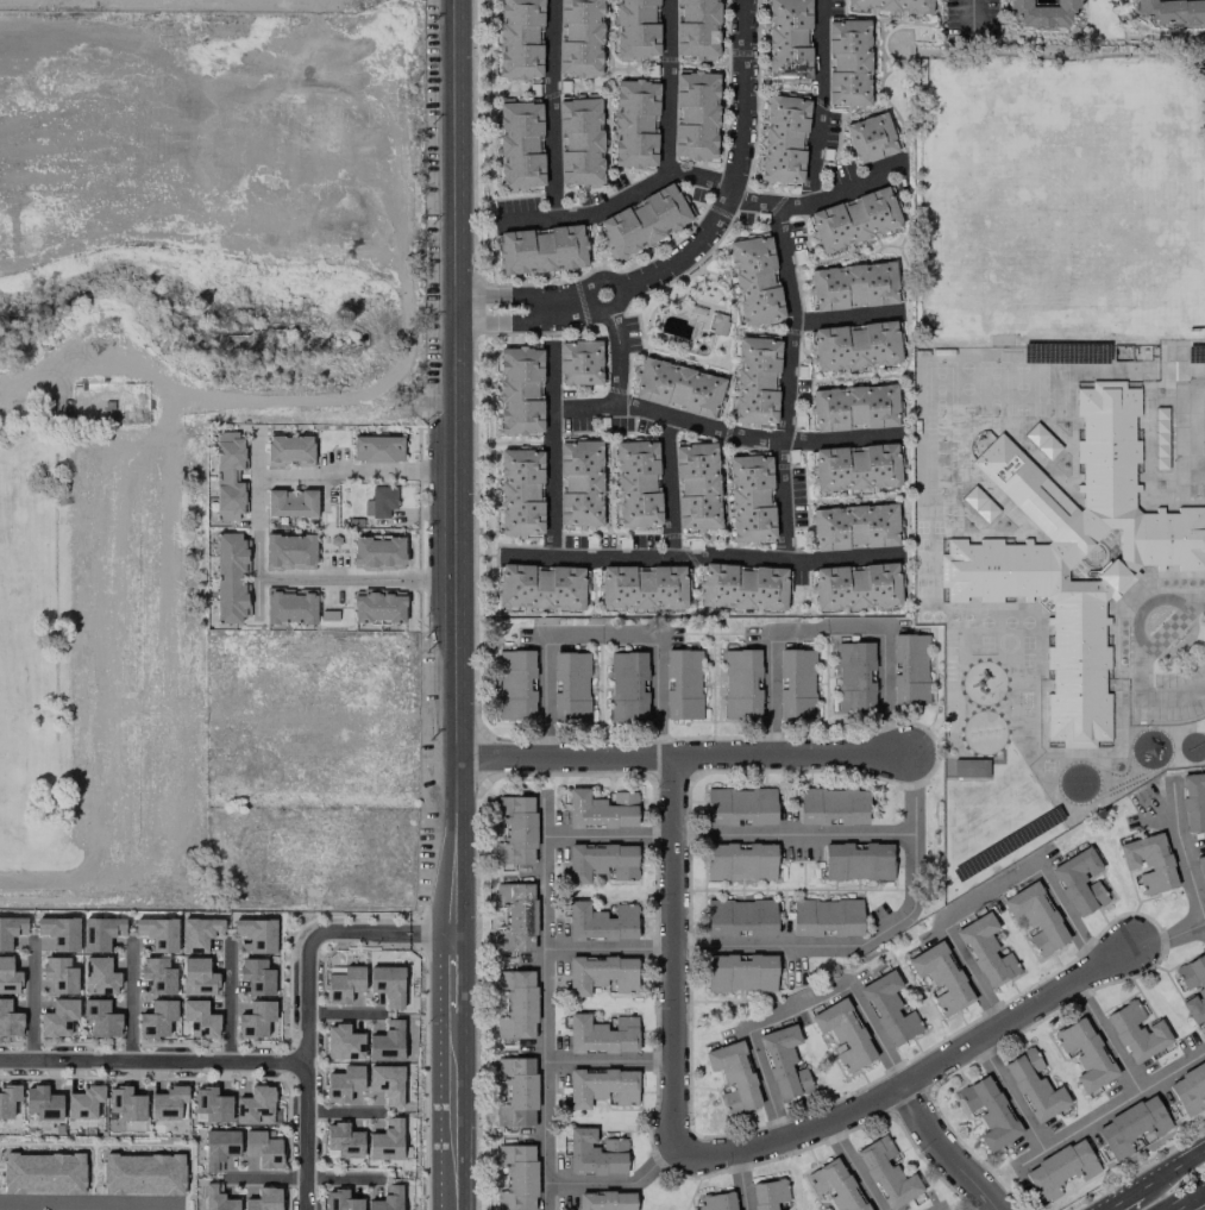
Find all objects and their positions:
building: (890, 5)
building: (1172, 11)
building: (1041, 12)
road: (975, 13)
building: (696, 29)
building: (635, 30)
building: (579, 37)
building: (519, 38)
building: (787, 40)
road: (990, 54)
building: (847, 62)
road: (671, 87)
road: (822, 102)
road: (887, 102)
road: (551, 109)
building: (695, 115)
building: (634, 124)
park: (1071, 128)
building: (870, 137)
building: (783, 139)
building: (579, 143)
building: (519, 144)
park: (1060, 195)
road: (619, 201)
road: (818, 201)
building: (853, 219)
building: (642, 221)
road: (696, 245)
building: (540, 250)
park: (1072, 257)
building: (754, 280)
building: (852, 286)
road: (851, 318)
building: (717, 324)
building: (854, 345)
road: (621, 349)
building: (578, 362)
park: (174, 377)
building: (755, 381)
road: (790, 383)
building: (677, 387)
building: (520, 390)
building: (1112, 400)
building: (852, 408)
road: (1199, 422)
road: (726, 432)
building: (376, 449)
building: (289, 450)
road: (554, 450)
building: (854, 468)
building: (227, 476)
building: (579, 483)
building: (636, 484)
building: (696, 485)
road: (670, 487)
building: (520, 493)
building: (749, 497)
building: (382, 501)
building: (290, 503)
road: (253, 524)
building: (853, 527)
building: (289, 551)
building: (377, 553)
road: (705, 559)
building: (1088, 568)
road: (96, 571)
building: (230, 577)
building: (539, 587)
building: (741, 587)
building: (855, 587)
building: (641, 588)
building: (377, 604)
road: (457, 604)
building: (289, 606)
road: (830, 631)
road: (601, 635)
road: (1137, 666)
building: (909, 669)
building: (854, 677)
building: (796, 683)
building: (514, 684)
building: (682, 684)
building: (741, 684)
building: (570, 686)
building: (627, 686)
parking lot: (1178, 695)
road: (680, 756)
building: (969, 795)
building: (1193, 801)
building: (740, 807)
building: (831, 807)
building: (601, 809)
building: (513, 829)
road: (730, 836)
road: (1185, 849)
building: (601, 861)
building: (740, 861)
building: (856, 861)
building: (1148, 863)
building: (1200, 870)
building: (1079, 882)
road: (990, 892)
building: (515, 917)
building: (740, 917)
building: (826, 917)
building: (1035, 917)
building: (601, 922)
building: (11, 930)
building: (59, 932)
road: (431, 932)
building: (100, 933)
building: (157, 933)
building: (199, 933)
road: (1167, 933)
building: (256, 934)
road: (878, 938)
road: (610, 949)
road: (674, 951)
building: (986, 952)
building: (740, 973)
building: (600, 974)
building: (57, 976)
building: (157, 976)
building: (256, 976)
building: (8, 977)
building: (99, 977)
building: (941, 977)
building: (197, 978)
building: (343, 984)
building: (387, 984)
building: (1192, 986)
road: (30, 998)
road: (128, 998)
road: (227, 1001)
building: (514, 1004)
road: (545, 1004)
road: (797, 1007)
road: (305, 1008)
building: (889, 1009)
road: (343, 1012)
building: (58, 1017)
building: (156, 1018)
building: (199, 1018)
building: (8, 1020)
building: (99, 1020)
building: (255, 1020)
building: (1136, 1032)
building: (843, 1034)
building: (601, 1035)
road: (1109, 1036)
building: (341, 1042)
building: (385, 1042)
building: (1084, 1053)
road: (151, 1061)
road: (610, 1062)
building: (783, 1062)
building: (733, 1077)
road: (911, 1080)
building: (385, 1083)
building: (343, 1084)
building: (1034, 1085)
building: (601, 1087)
building: (1188, 1090)
building: (514, 1091)
road: (1012, 1096)
building: (83, 1102)
building: (42, 1103)
building: (167, 1103)
building: (125, 1104)
building: (211, 1105)
building: (255, 1105)
road: (343, 1111)
building: (989, 1111)
road: (1111, 1111)
building: (1131, 1127)
building: (341, 1141)
building: (385, 1141)
building: (219, 1147)
building: (262, 1148)
road: (944, 1152)
building: (595, 1153)
road: (855, 1166)
road: (1173, 1166)
building: (1060, 1170)
building: (43, 1173)
building: (886, 1173)
building: (142, 1174)
road: (300, 1177)
building: (515, 1177)
road: (745, 1180)
road: (617, 1181)
building: (834, 1185)
road: (303, 1193)
building: (768, 1195)
road: (1121, 1198)
road: (1187, 1198)
building: (215, 1199)
building: (263, 1199)
building: (387, 1199)
building: (339, 1200)
building: (605, 1200)
building: (716, 1202)
road: (31, 1203)
road: (117, 1204)

